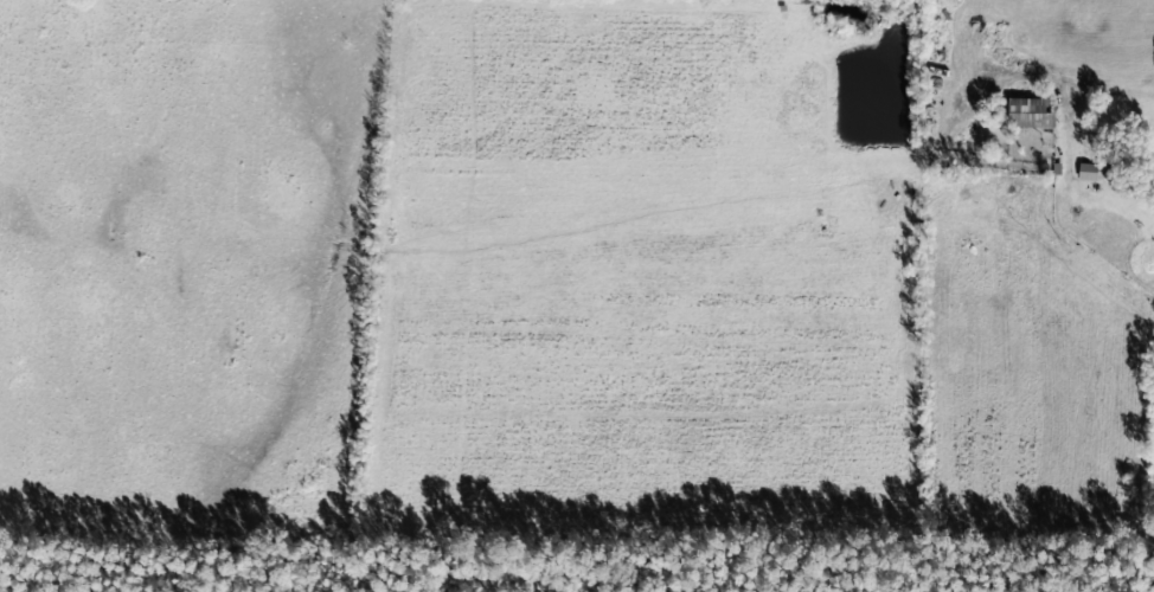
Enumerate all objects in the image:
building: (1032, 109)
building: (1088, 169)

